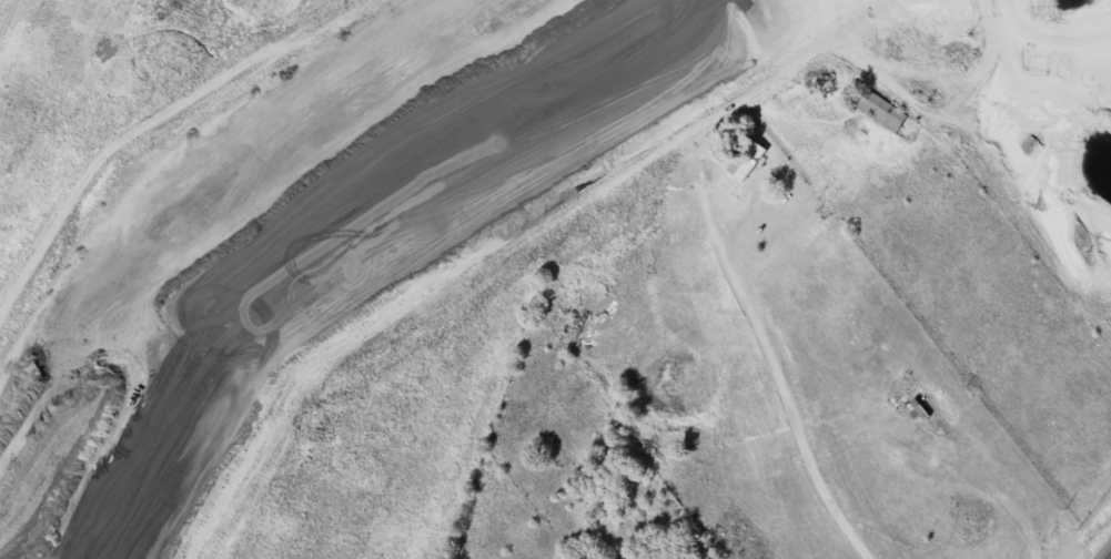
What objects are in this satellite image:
road: (832, 41)
building: (787, 47)
building: (879, 111)
road: (465, 135)
building: (744, 159)
road: (790, 405)

